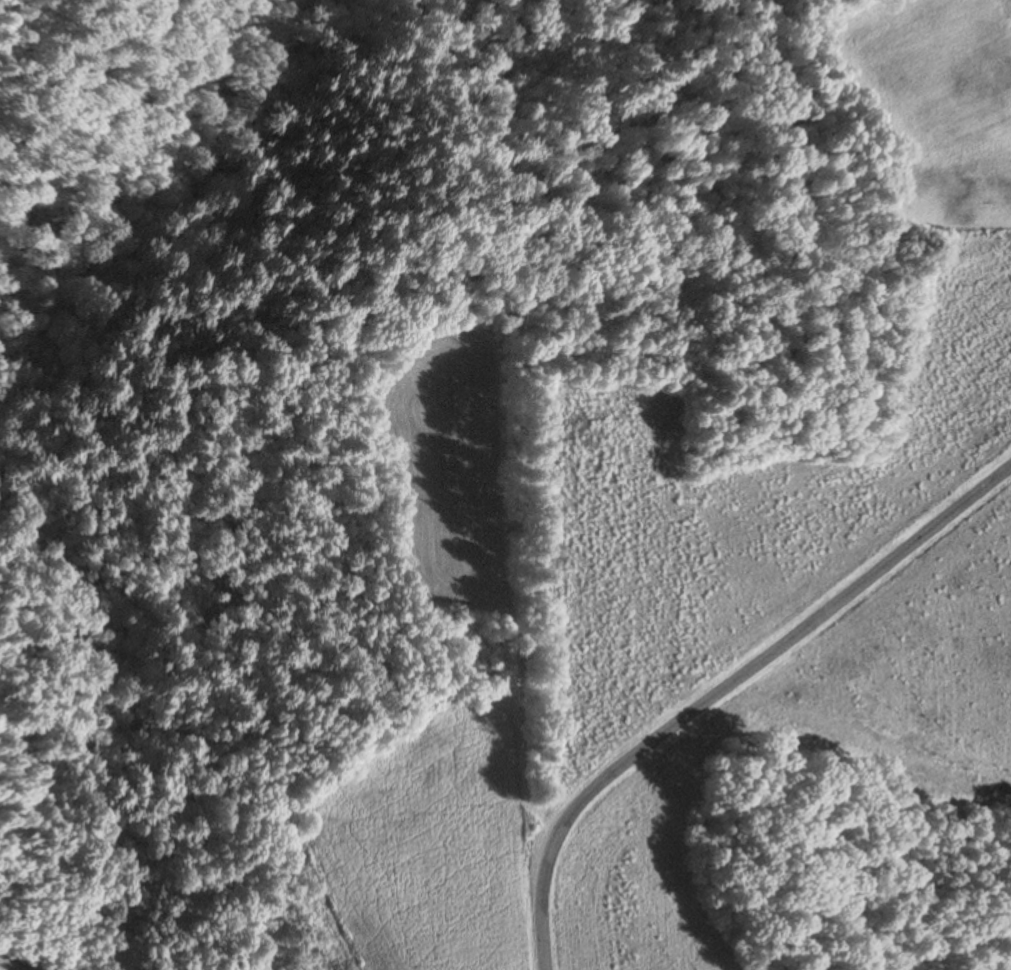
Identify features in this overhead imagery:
road: (725, 689)

